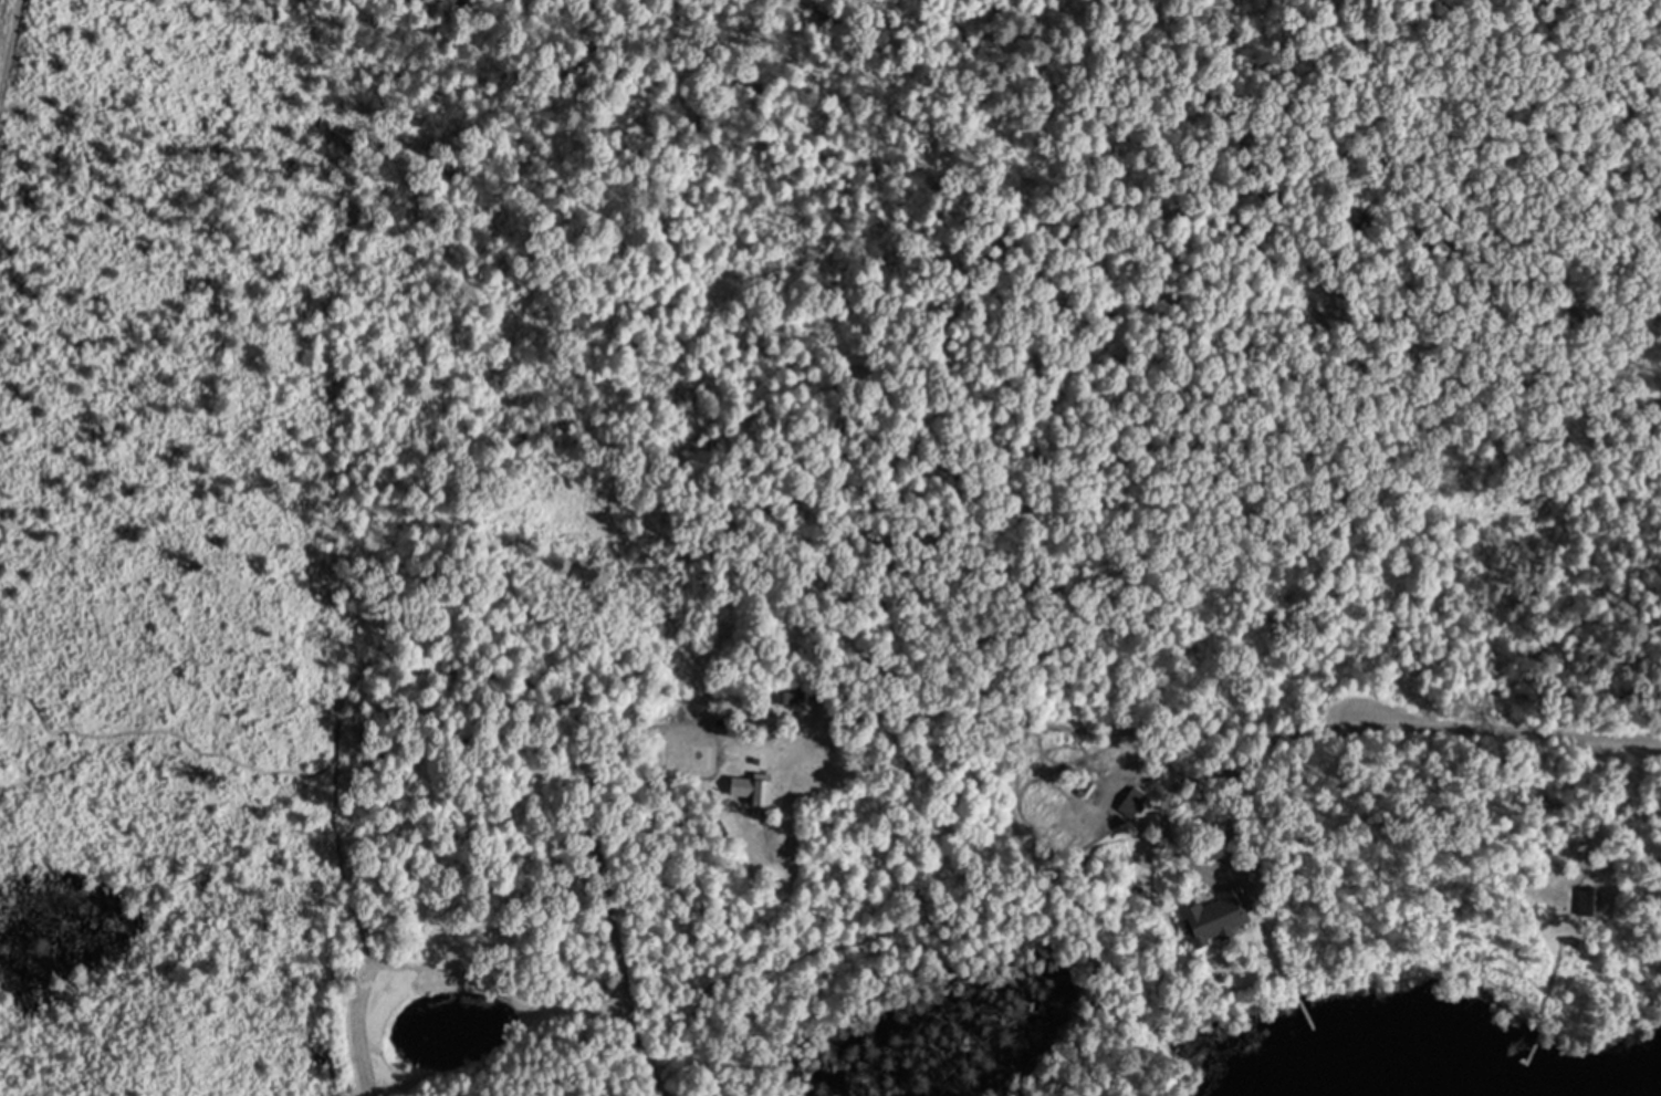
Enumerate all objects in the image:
road: (1506, 722)
road: (1226, 766)
building: (764, 792)
building: (1597, 899)
building: (1218, 916)
road: (620, 978)

